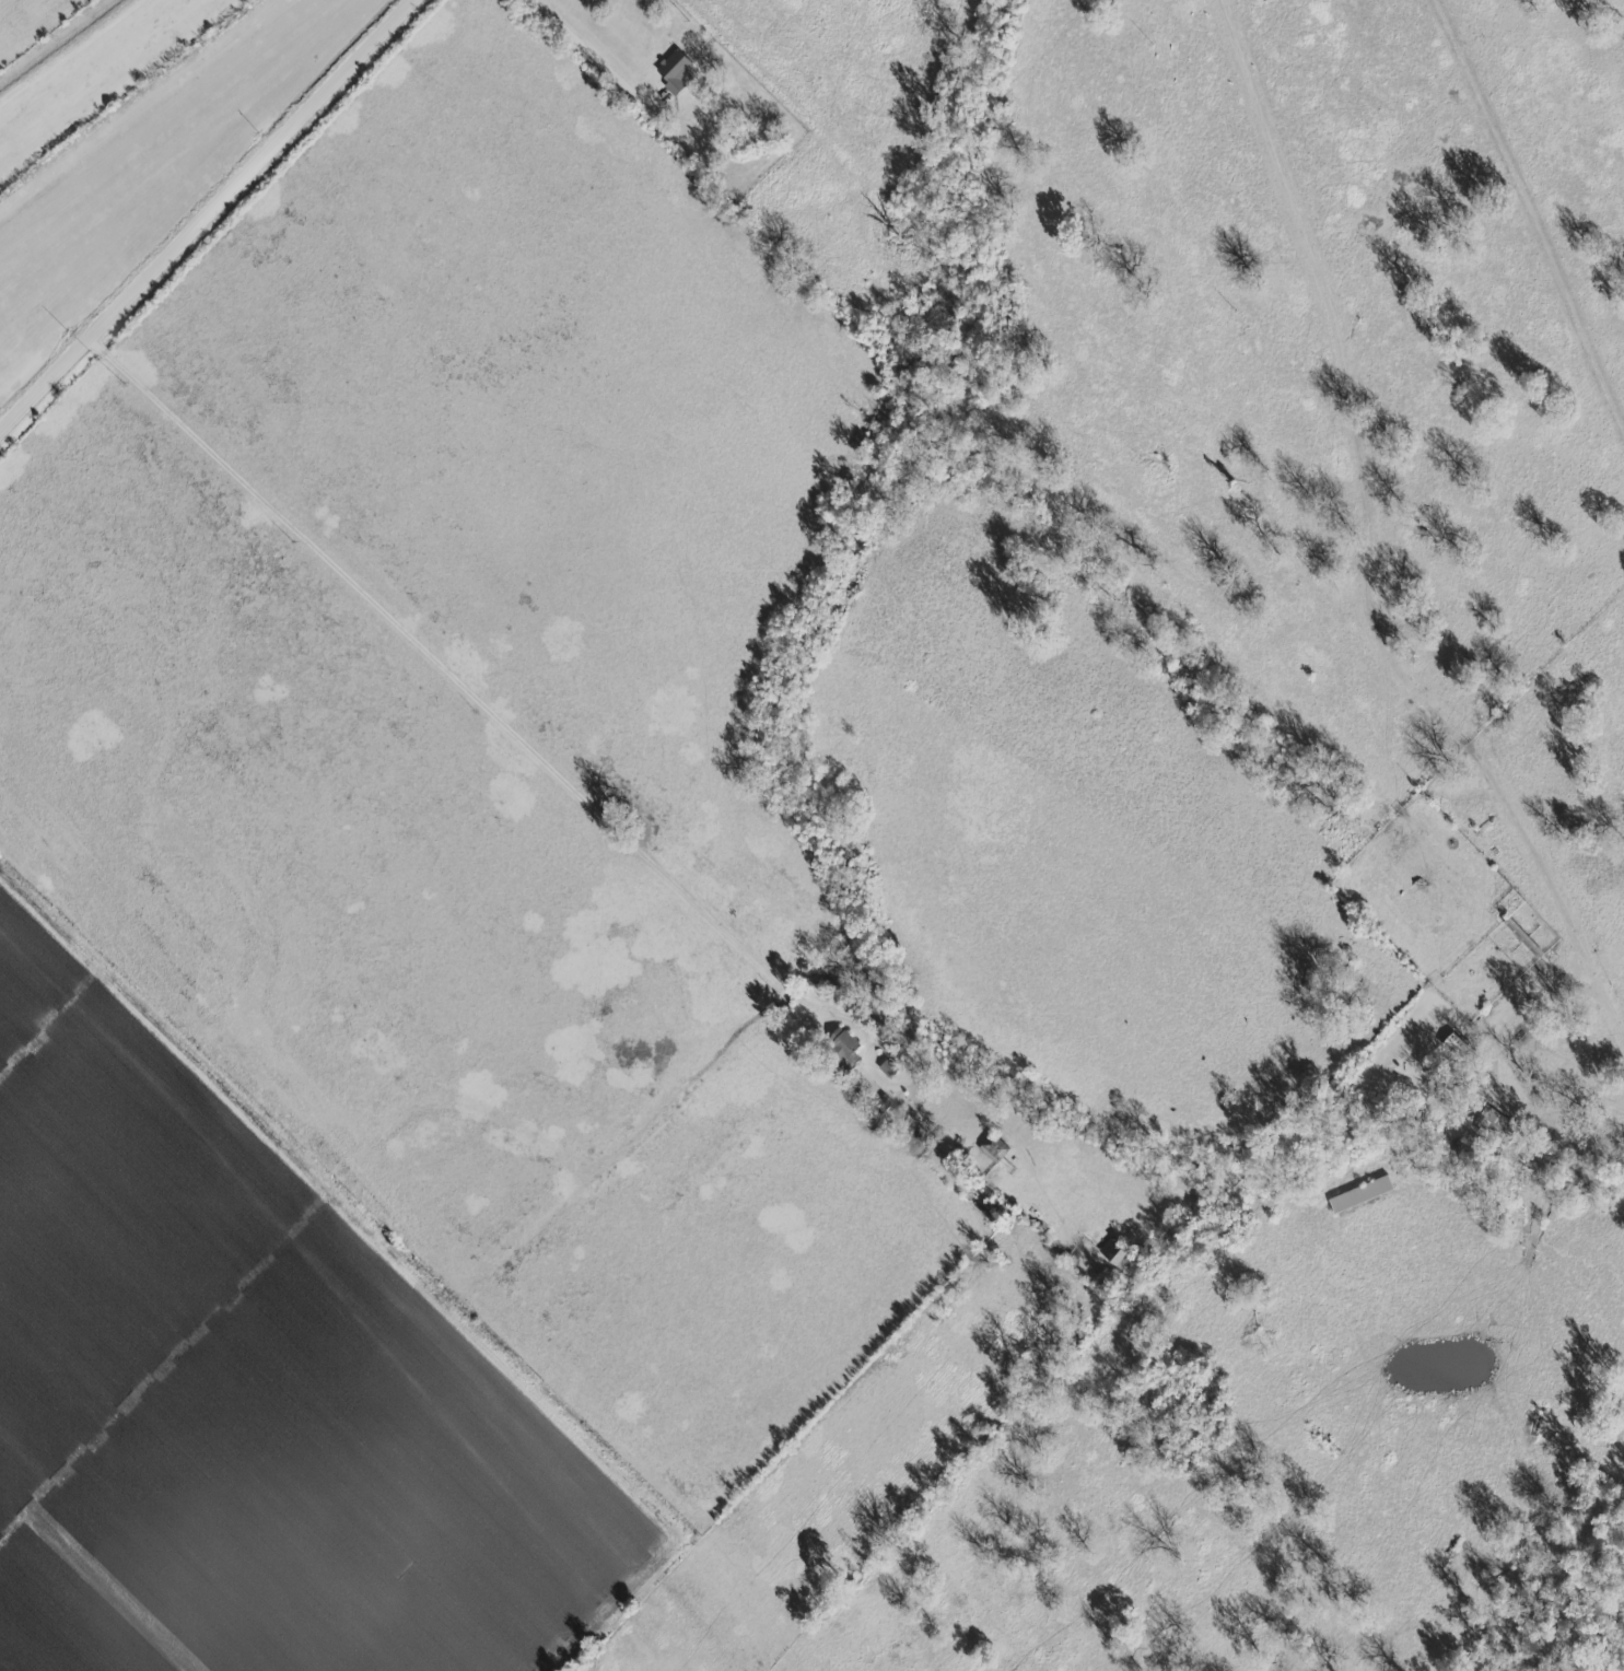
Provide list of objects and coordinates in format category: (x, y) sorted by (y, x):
road: (585, 55)
railway: (95, 70)
building: (673, 71)
road: (212, 221)
road: (1365, 549)
road: (559, 770)
building: (841, 1048)
building: (887, 1068)
building: (881, 1103)
building: (1494, 1121)
building: (993, 1146)

